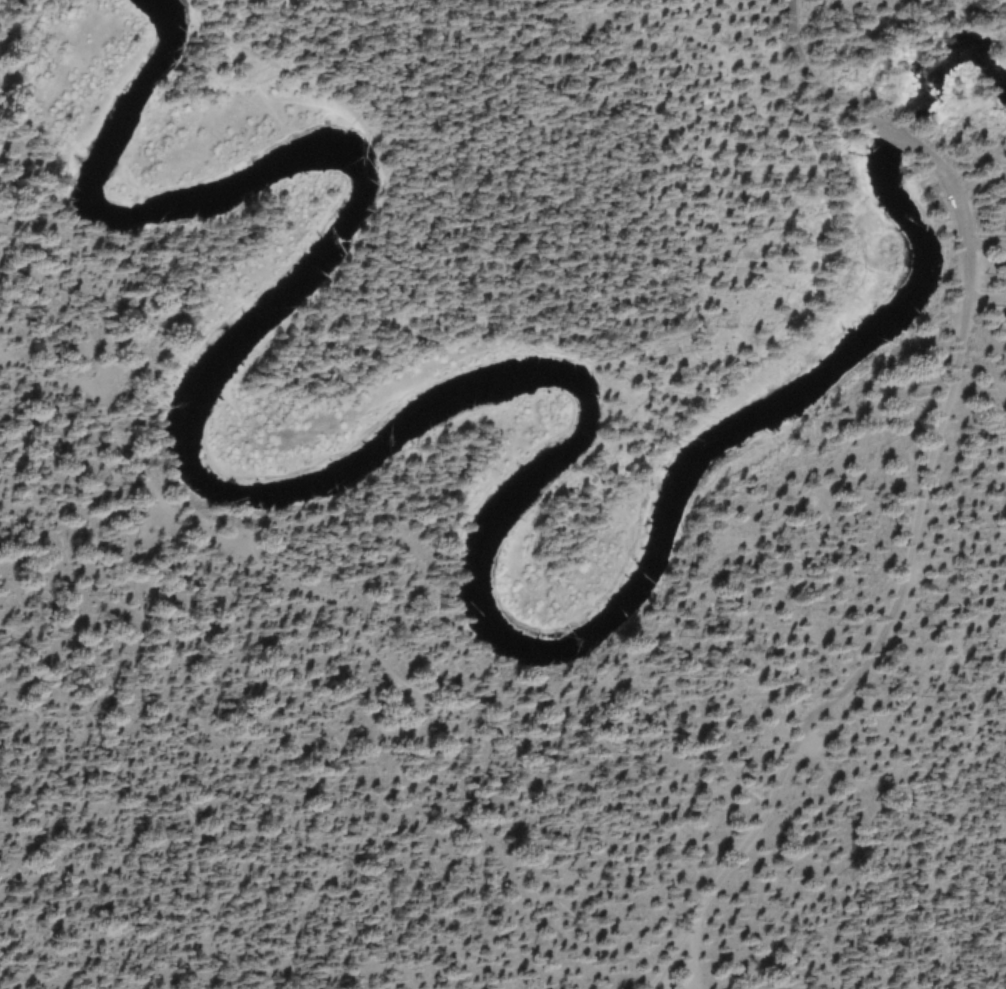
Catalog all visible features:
road: (804, 78)
road: (898, 137)
road: (985, 242)
road: (986, 301)
river: (508, 400)
road: (900, 598)
road: (377, 667)
road: (950, 783)
road: (698, 957)
road: (662, 984)

